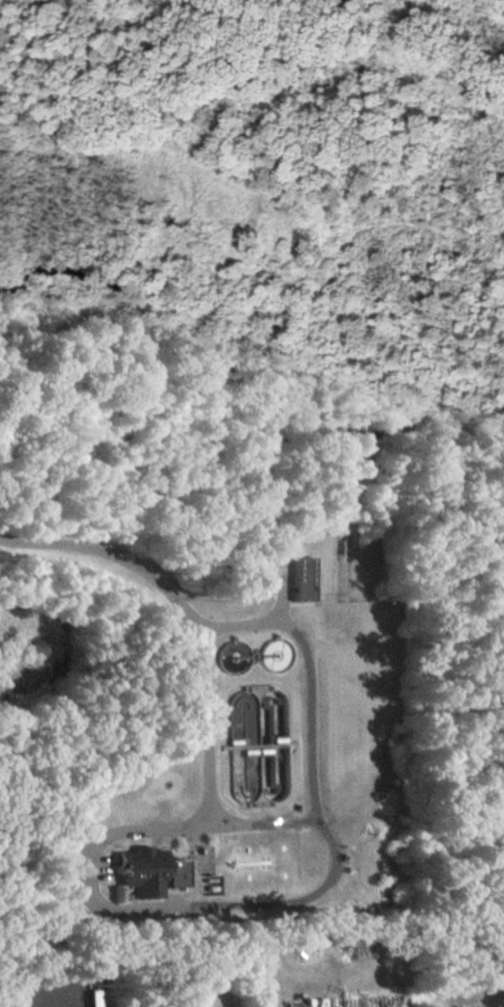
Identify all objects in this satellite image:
road: (96, 546)
building: (296, 578)
wastewater plant: (259, 755)
road: (295, 816)
road: (131, 825)
building: (145, 870)
road: (32, 1002)

